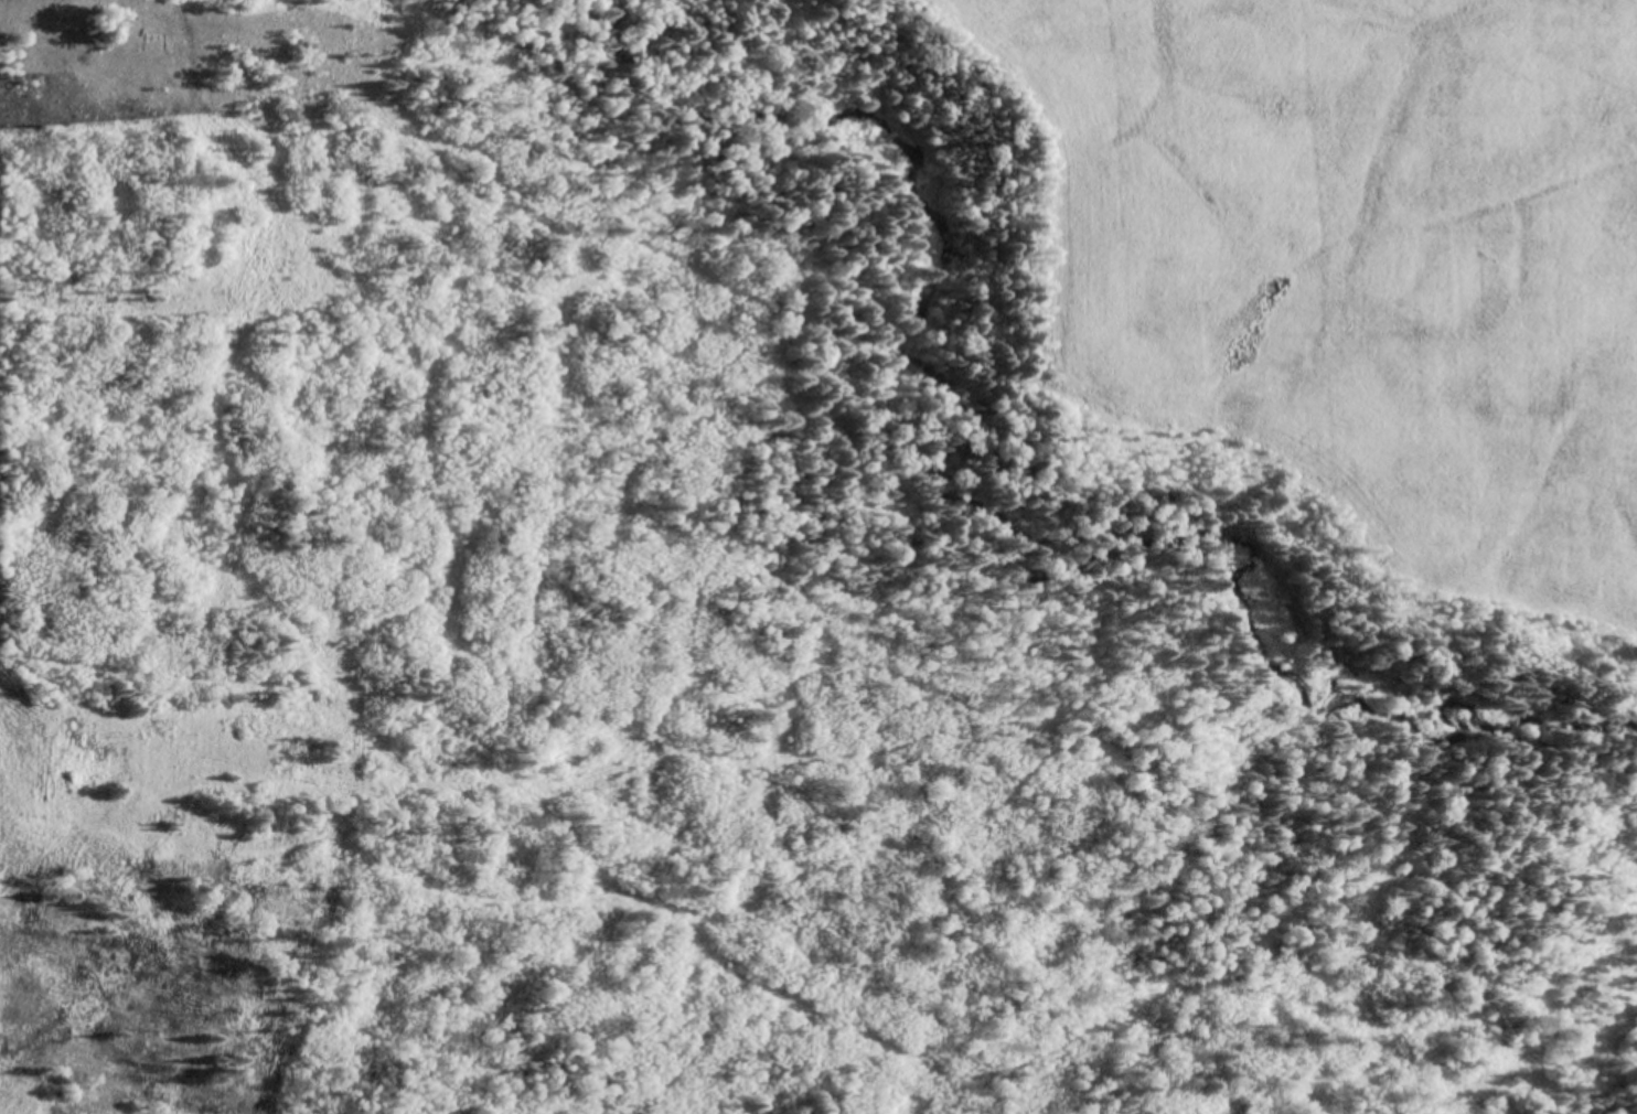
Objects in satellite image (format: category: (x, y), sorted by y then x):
building: (1619, 13)
building: (1563, 86)
building: (1617, 115)
building: (1556, 190)

